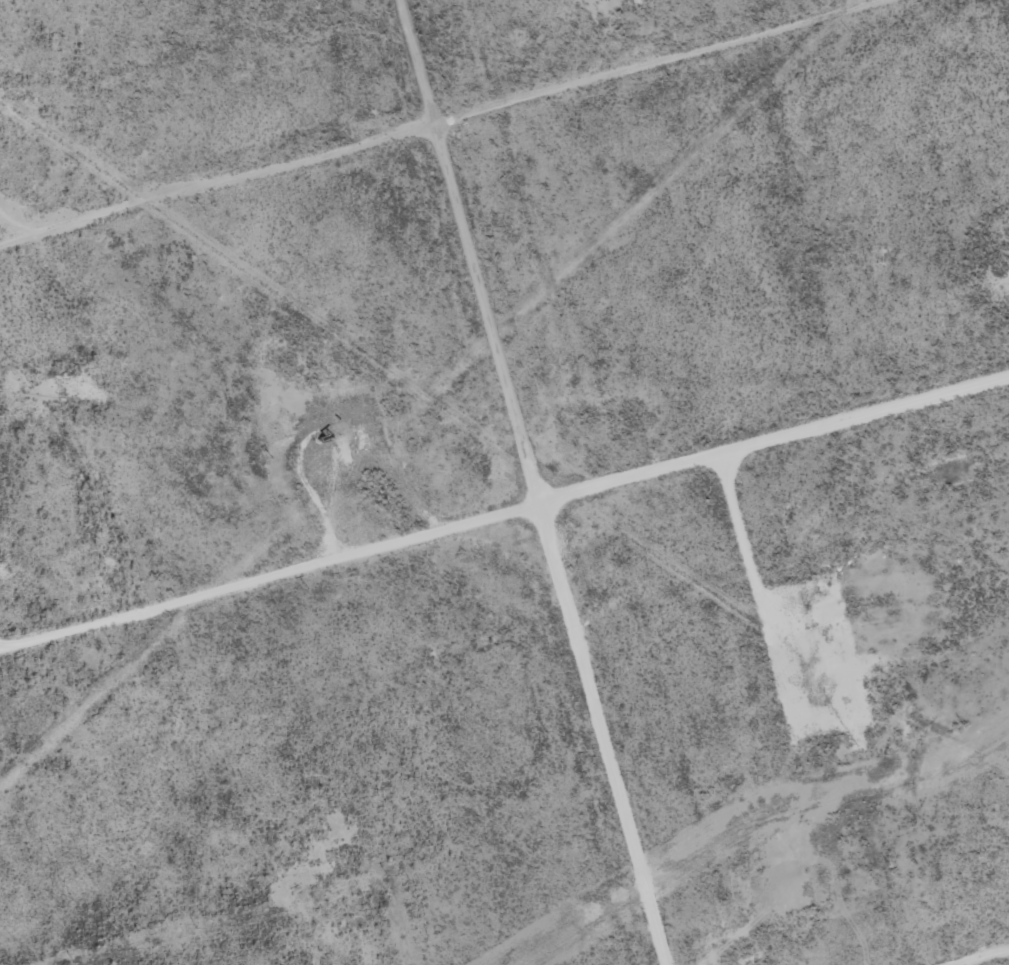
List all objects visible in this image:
road: (468, 482)
road: (505, 541)

